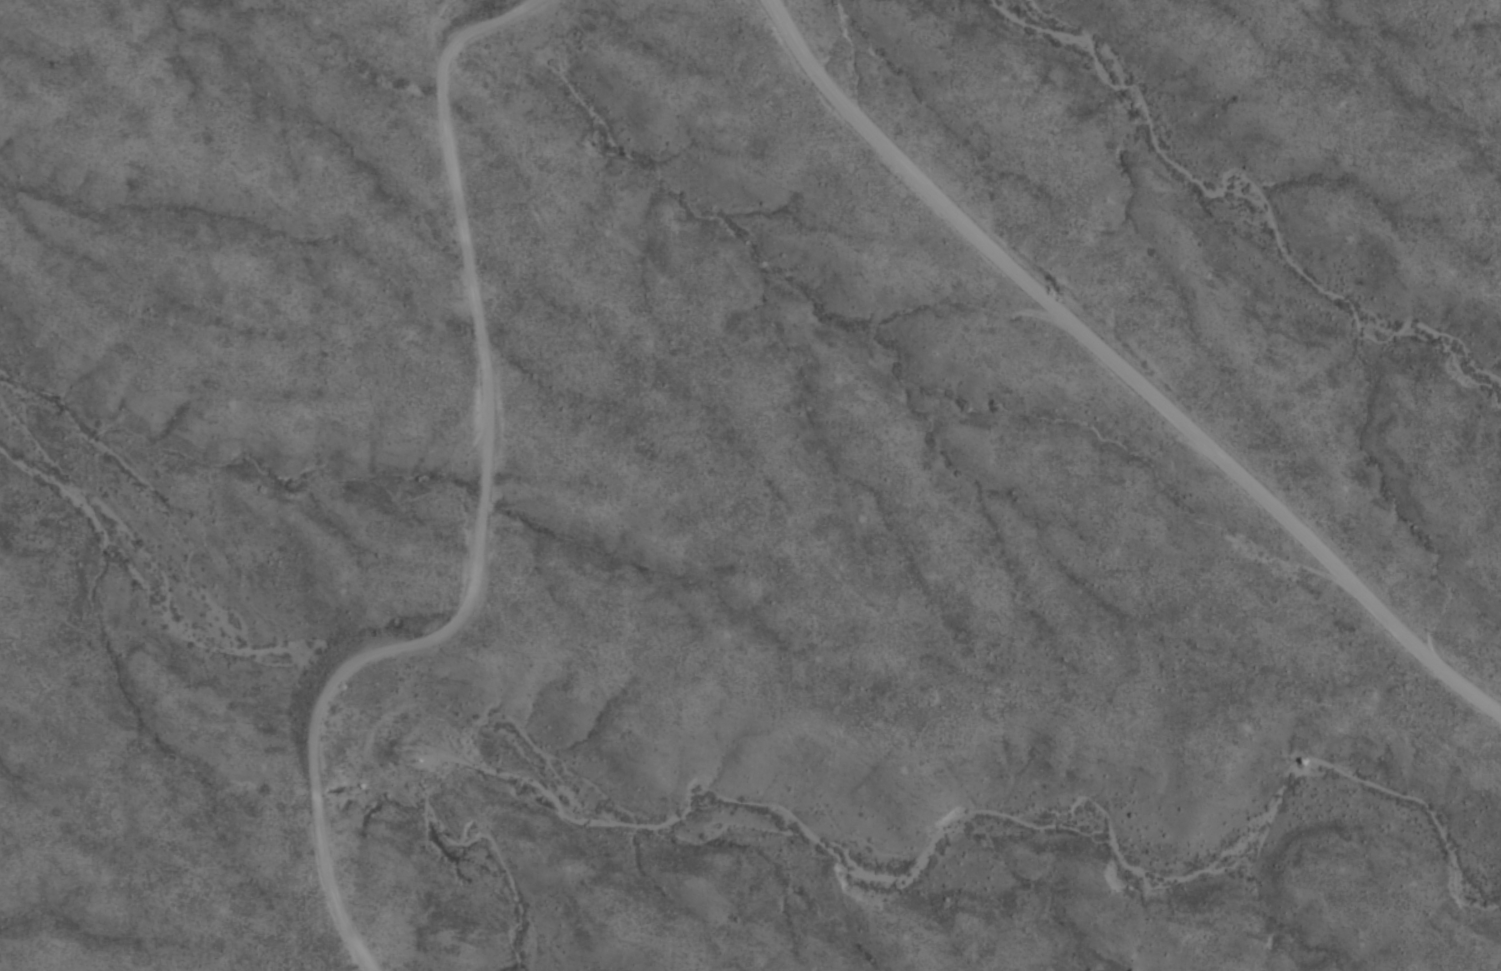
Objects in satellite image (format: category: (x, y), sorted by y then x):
road: (1114, 365)
road: (479, 511)

